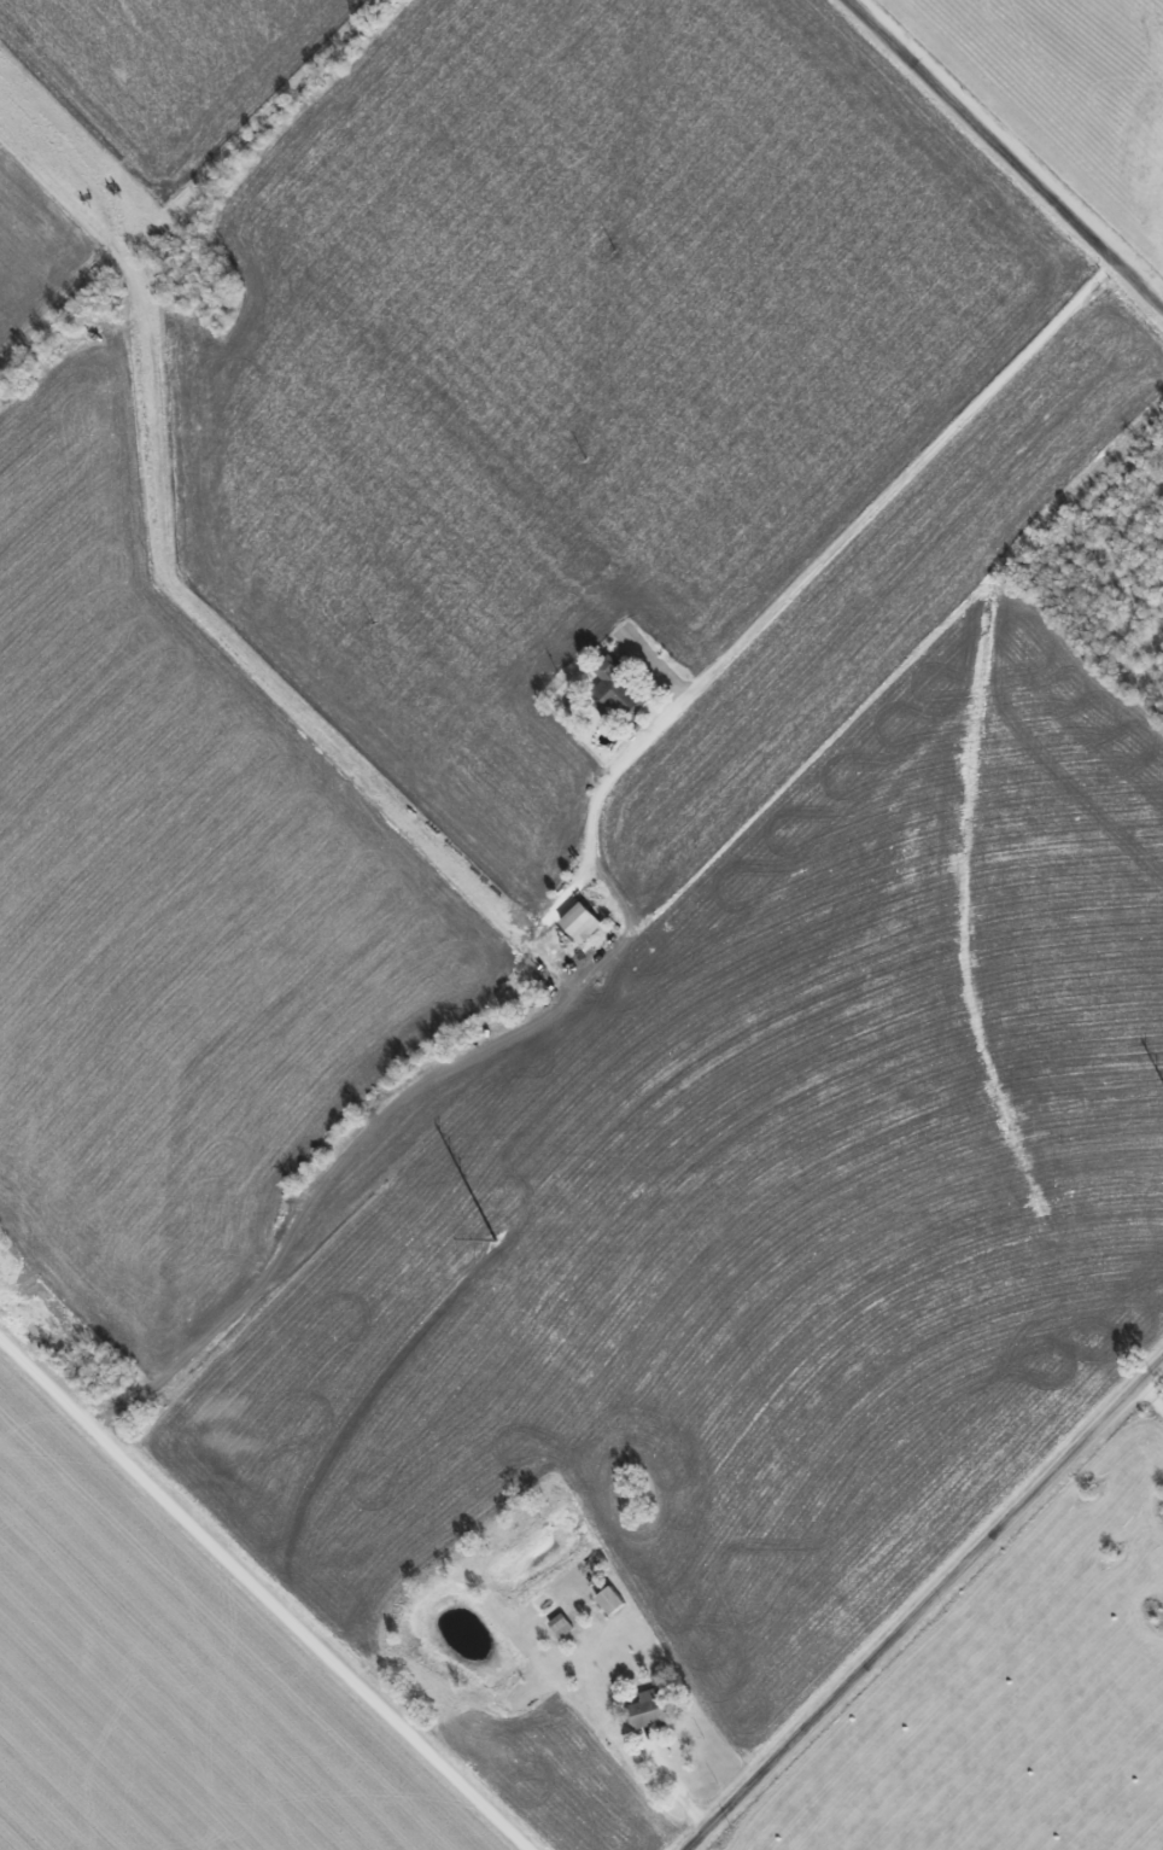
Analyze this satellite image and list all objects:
road: (1004, 156)
road: (831, 552)
building: (614, 687)
building: (578, 922)
power tower: (485, 1251)
road: (1152, 1394)
road: (263, 1595)
road: (925, 1605)
road: (676, 1784)

